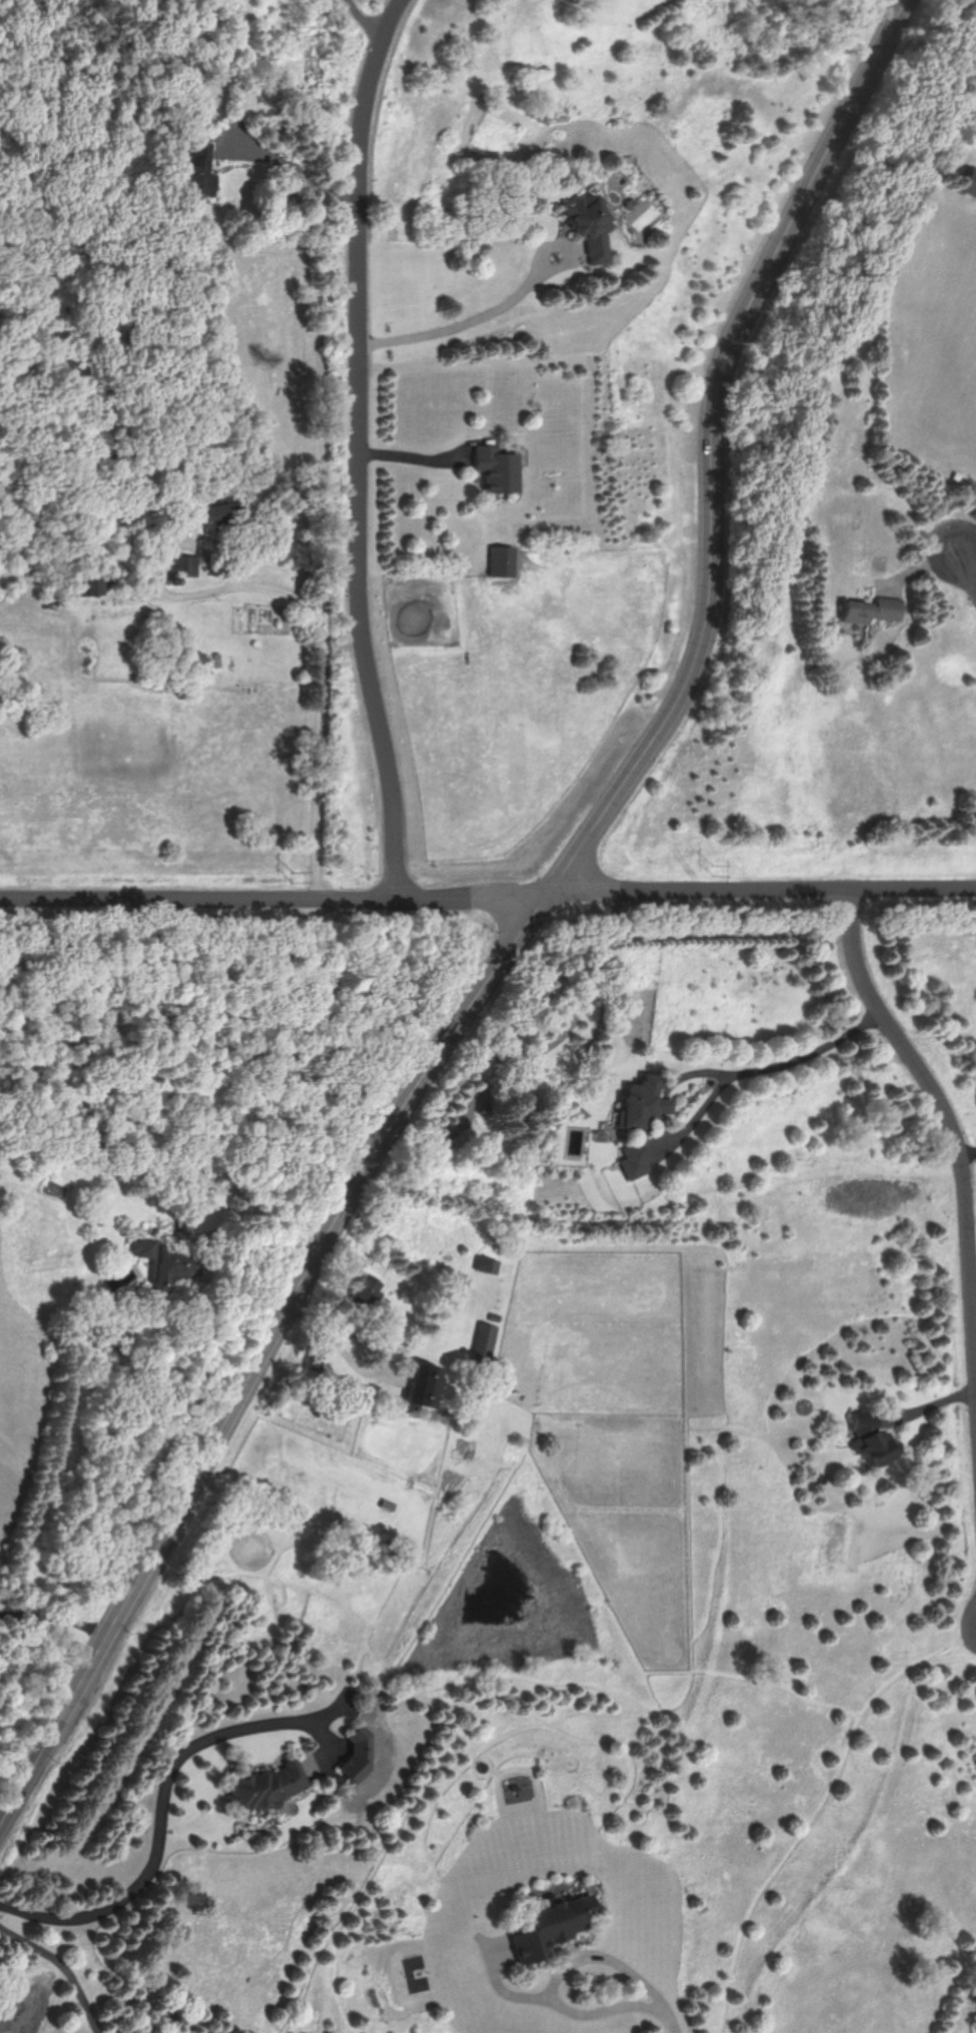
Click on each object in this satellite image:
road: (368, 19)
building: (195, 167)
road: (296, 170)
building: (966, 187)
building: (587, 227)
road: (503, 306)
road: (365, 445)
road: (708, 447)
road: (418, 459)
building: (496, 469)
building: (223, 515)
road: (969, 536)
road: (969, 557)
building: (502, 562)
building: (184, 565)
building: (81, 580)
building: (868, 611)
building: (193, 659)
road: (326, 668)
power tower: (717, 871)
power tower: (302, 875)
road: (761, 886)
road: (274, 898)
road: (780, 1067)
building: (643, 1104)
road: (952, 1118)
road: (969, 1152)
building: (637, 1158)
road: (255, 1226)
building: (170, 1263)
building: (490, 1265)
building: (371, 1288)
building: (487, 1341)
road: (381, 1343)
road: (262, 1355)
building: (426, 1382)
building: (472, 1405)
road: (56, 1621)
building: (358, 1756)
building: (268, 1785)
road: (164, 1802)
building: (557, 1926)
road: (64, 1966)
road: (559, 1978)
road: (673, 2015)

